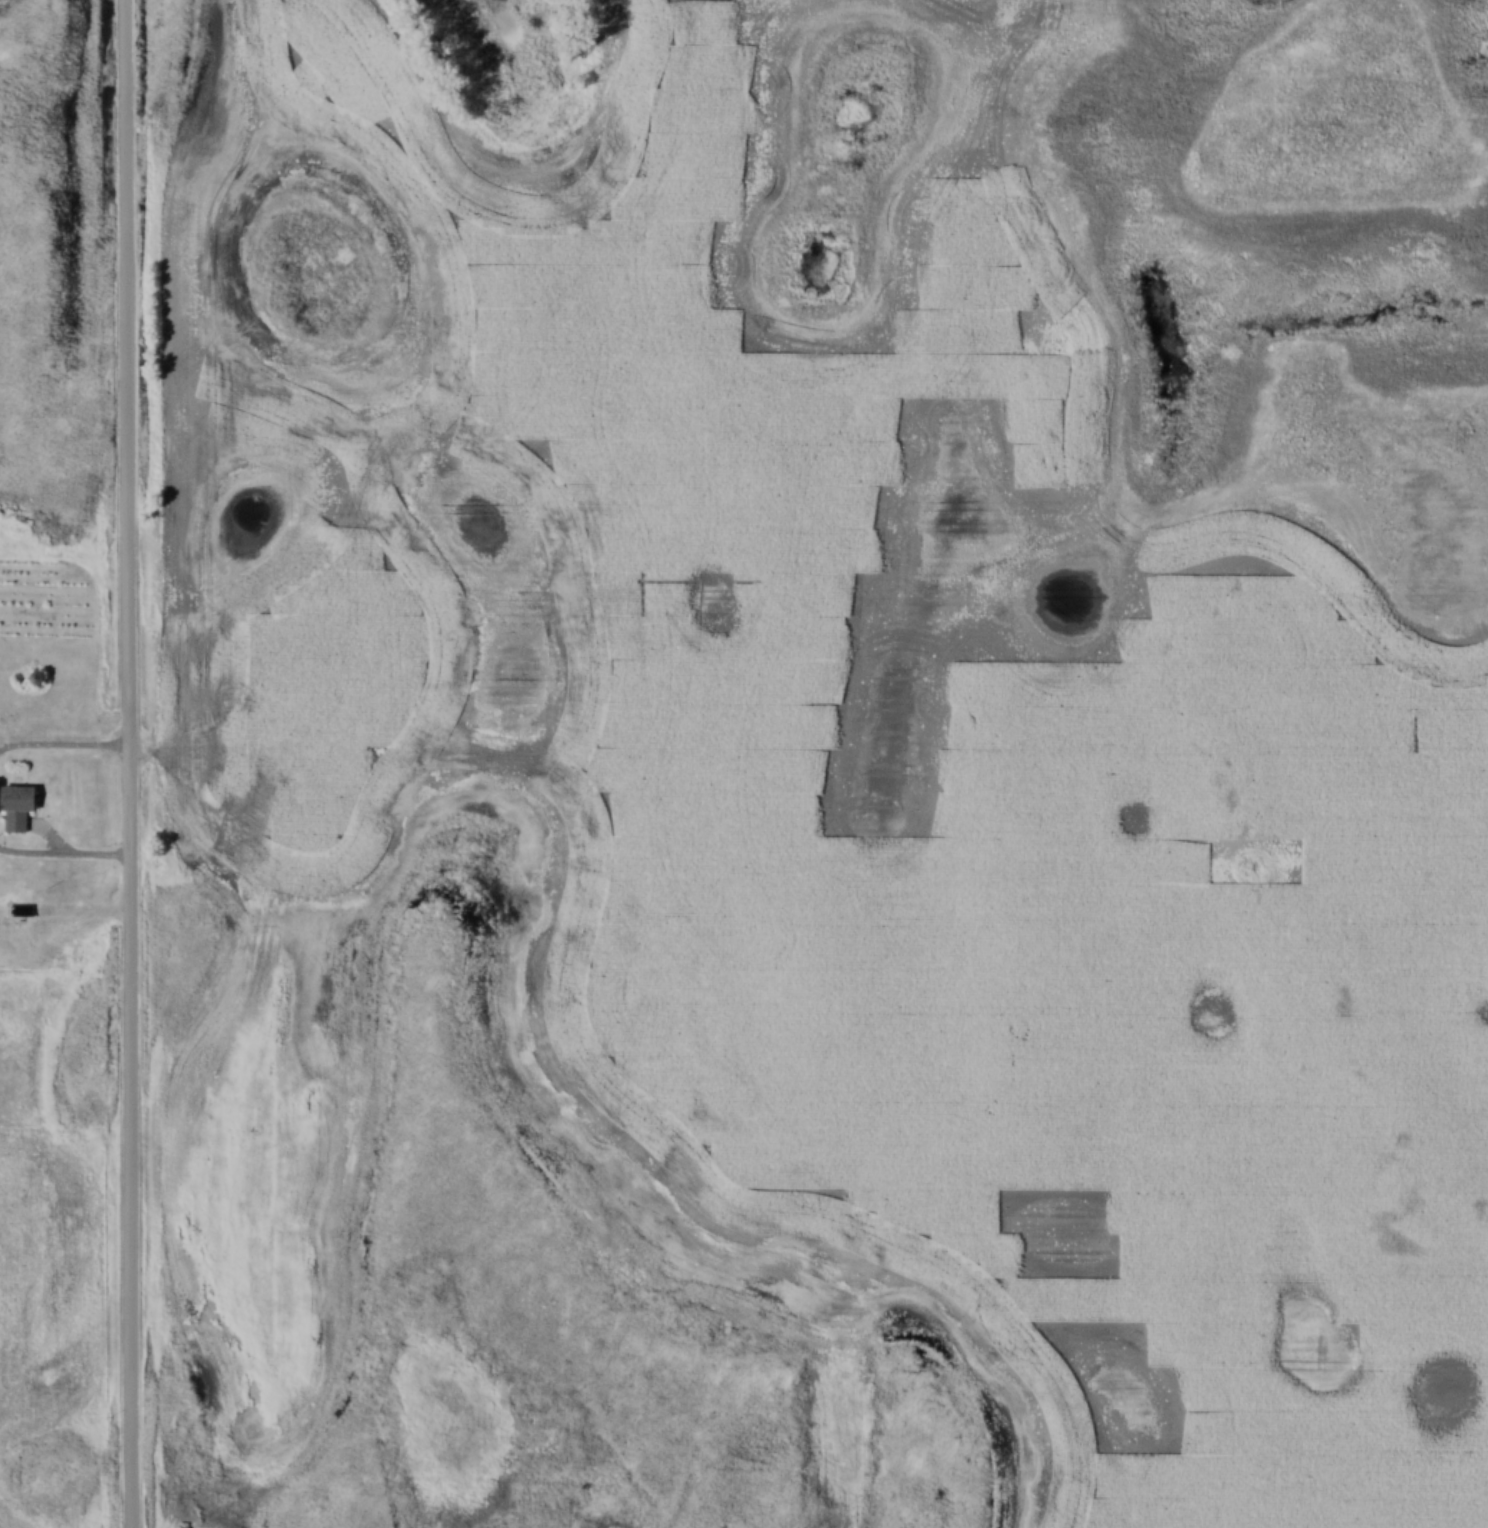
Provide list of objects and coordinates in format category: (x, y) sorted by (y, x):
road: (126, 763)
building: (13, 809)
building: (22, 913)

